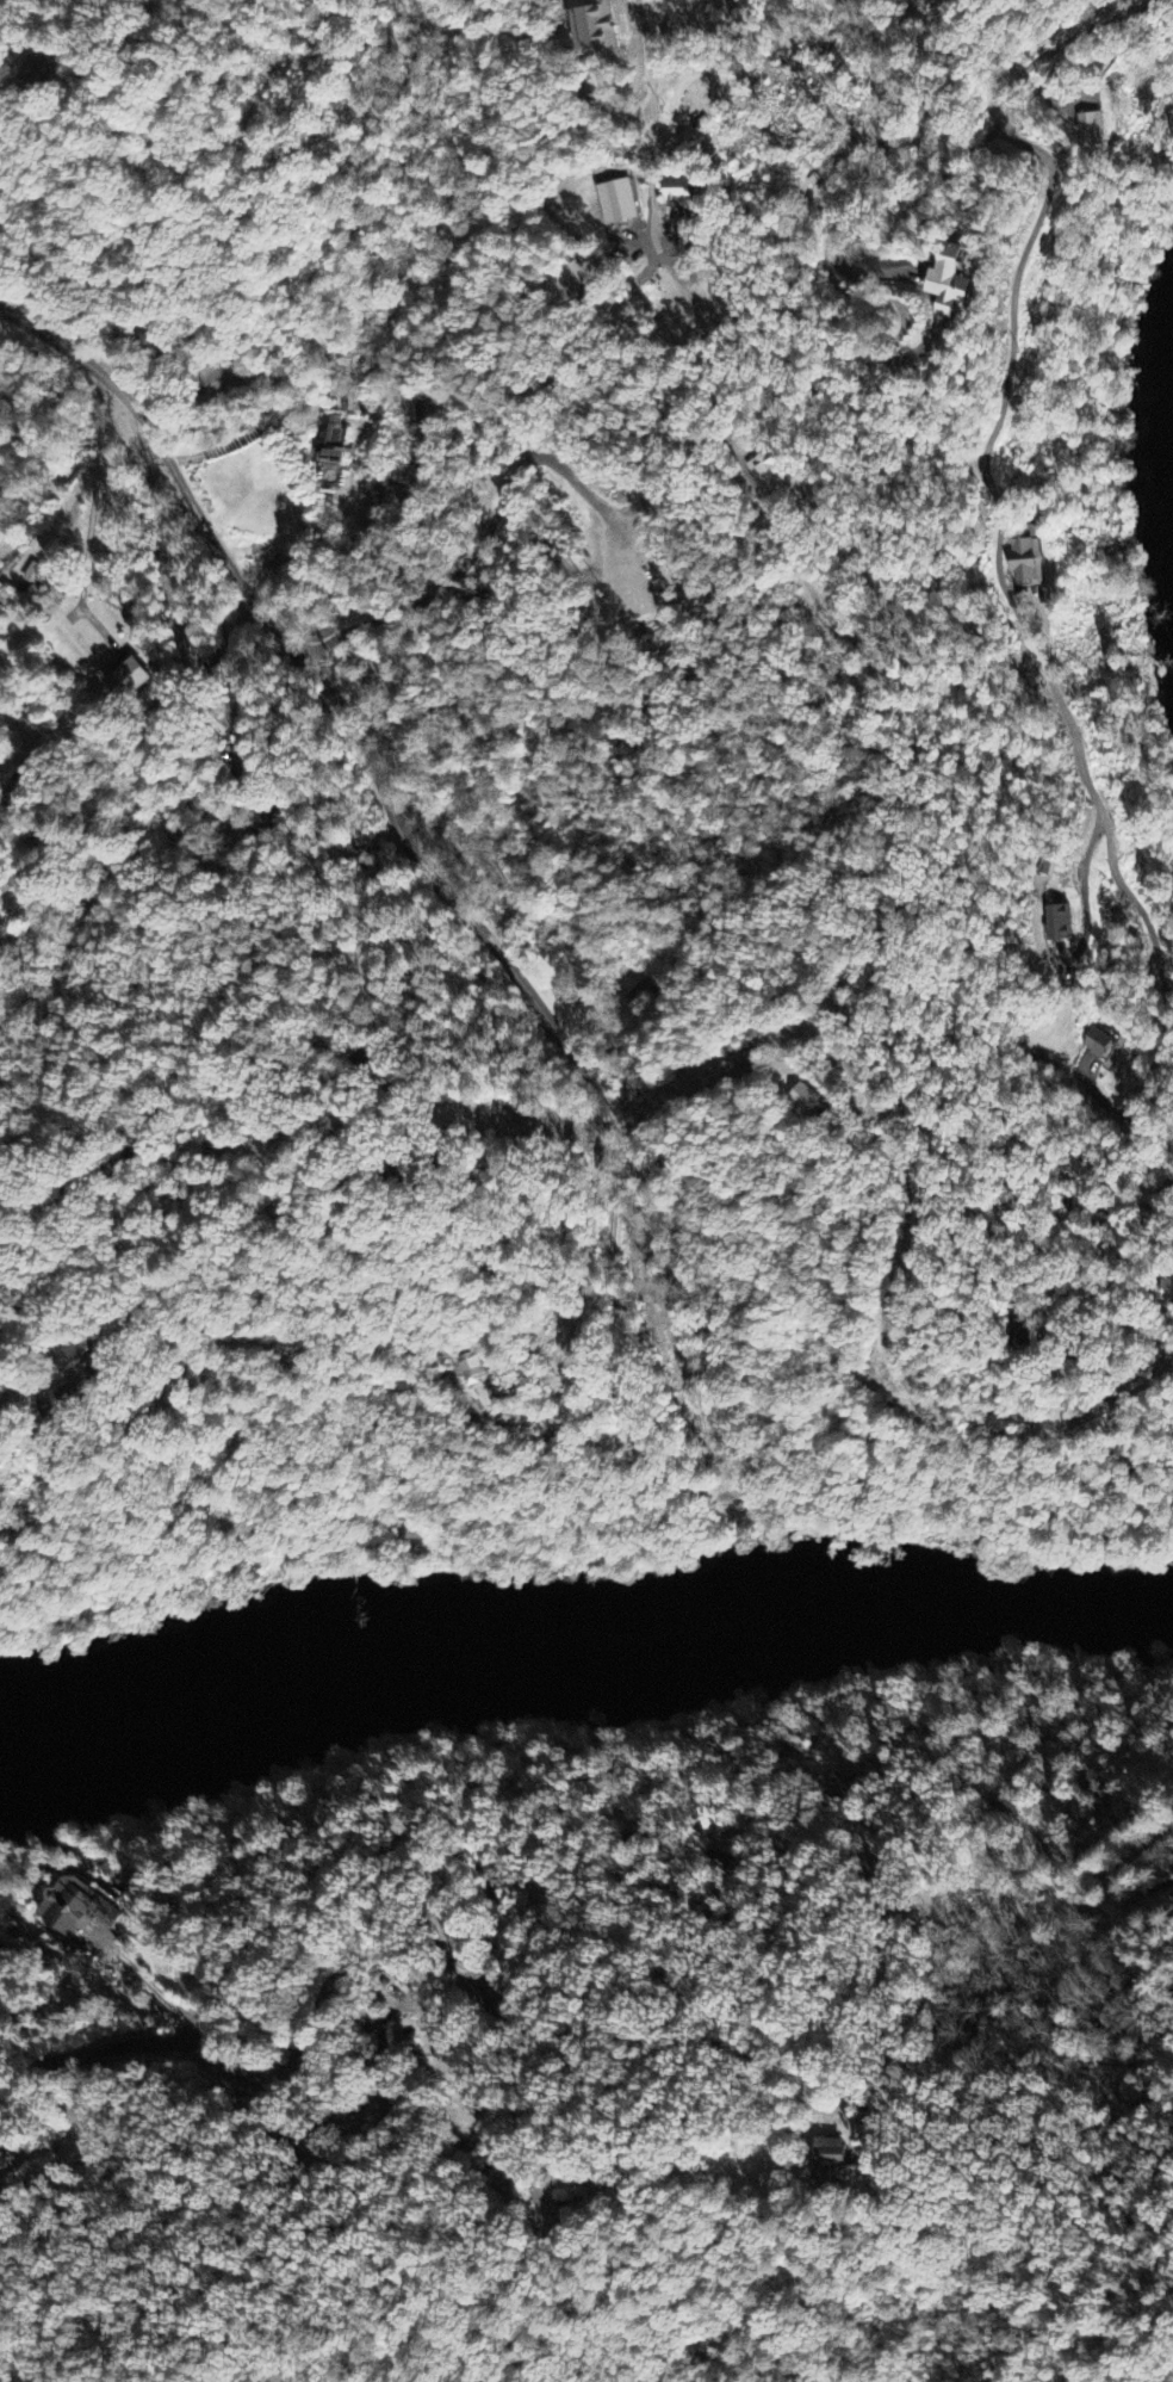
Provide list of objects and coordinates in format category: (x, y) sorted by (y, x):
building: (929, 5)
road: (826, 14)
building: (594, 29)
road: (387, 55)
building: (33, 73)
building: (1090, 131)
road: (77, 137)
building: (679, 198)
building: (615, 203)
building: (584, 271)
building: (948, 281)
road: (67, 349)
building: (222, 380)
building: (330, 441)
building: (768, 470)
road: (95, 499)
road: (863, 531)
road: (997, 537)
road: (49, 552)
building: (1026, 563)
building: (30, 575)
road: (204, 590)
building: (124, 678)
road: (352, 726)
building: (12, 798)
building: (1057, 923)
building: (1096, 1042)
road: (187, 1066)
building: (803, 1097)
building: (911, 1101)
building: (1166, 1291)
building: (1020, 1337)
building: (77, 1349)
building: (472, 1367)
road: (13, 1392)
road: (918, 1394)
building: (55, 1402)
road: (11, 1528)
river: (963, 1604)
river: (373, 1656)
road: (570, 1900)
building: (79, 1902)
road: (418, 2003)
road: (793, 2071)
road: (643, 2117)
building: (827, 2154)
building: (1, 2157)
building: (0, 2170)
building: (545, 2209)

